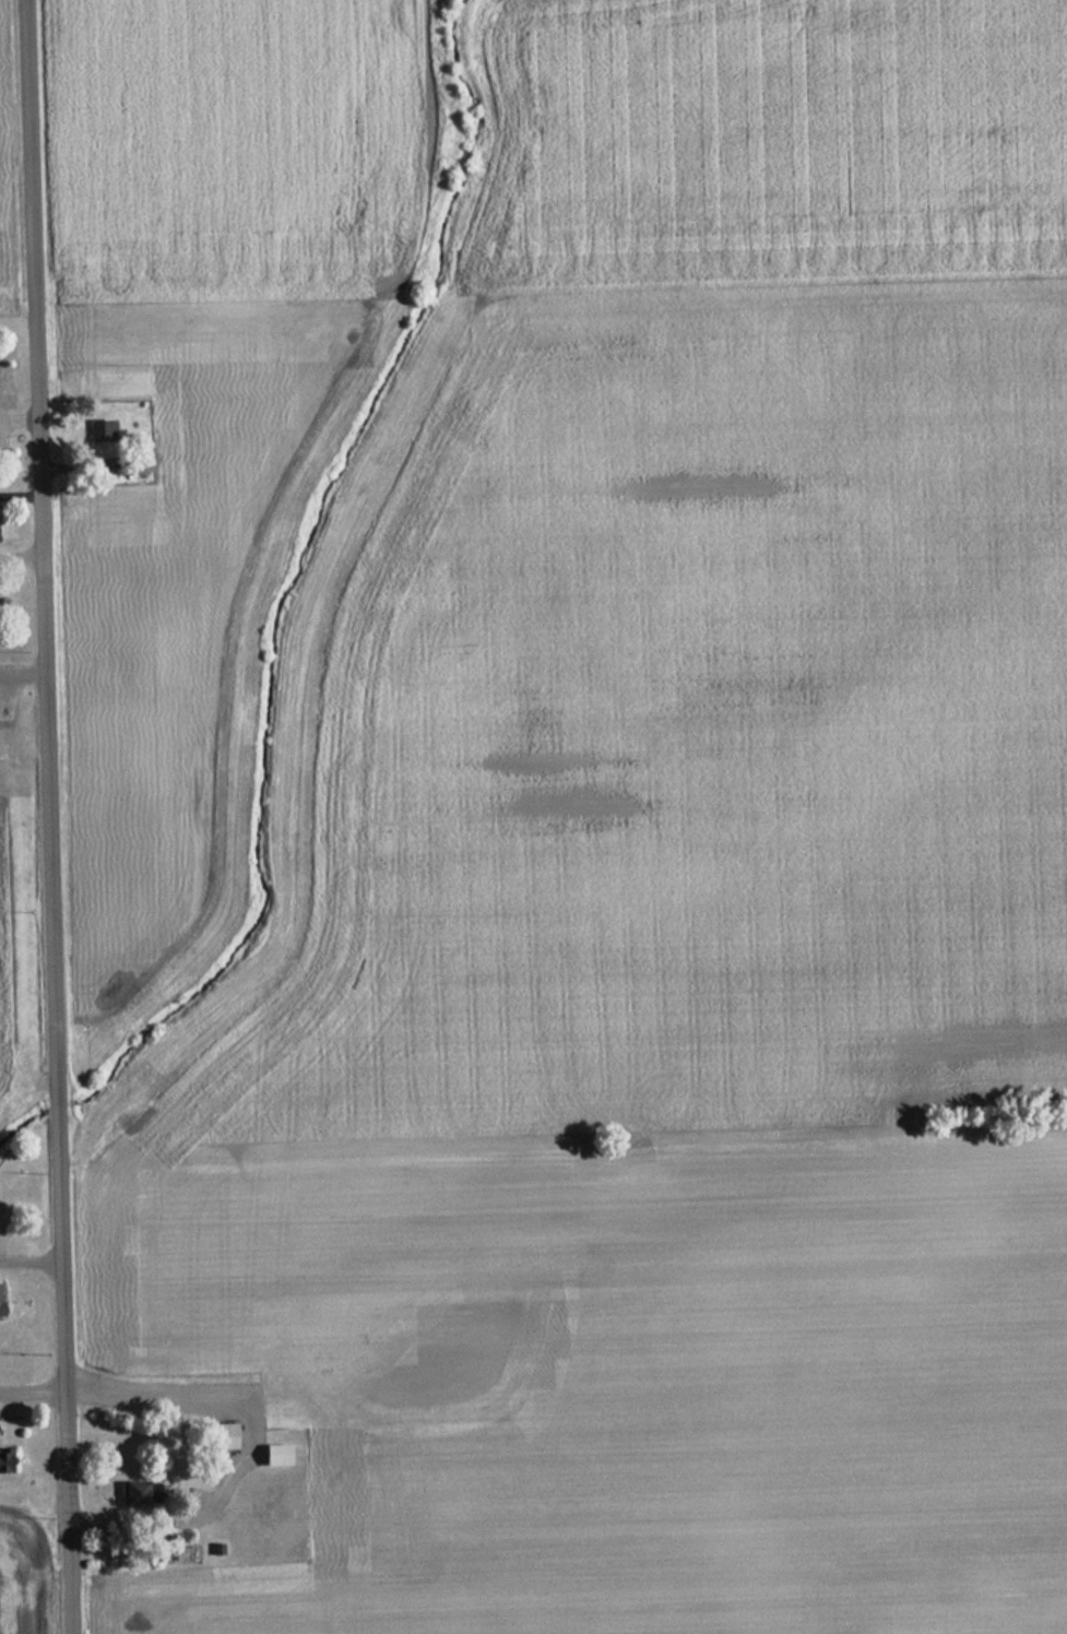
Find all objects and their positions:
building: (105, 430)
building: (1, 529)
crop: (712, 597)
road: (49, 817)
road: (31, 1260)
building: (0, 1294)
crop: (616, 1371)
road: (33, 1390)
road: (235, 1448)
building: (282, 1454)
building: (146, 1491)
crop: (24, 1574)

